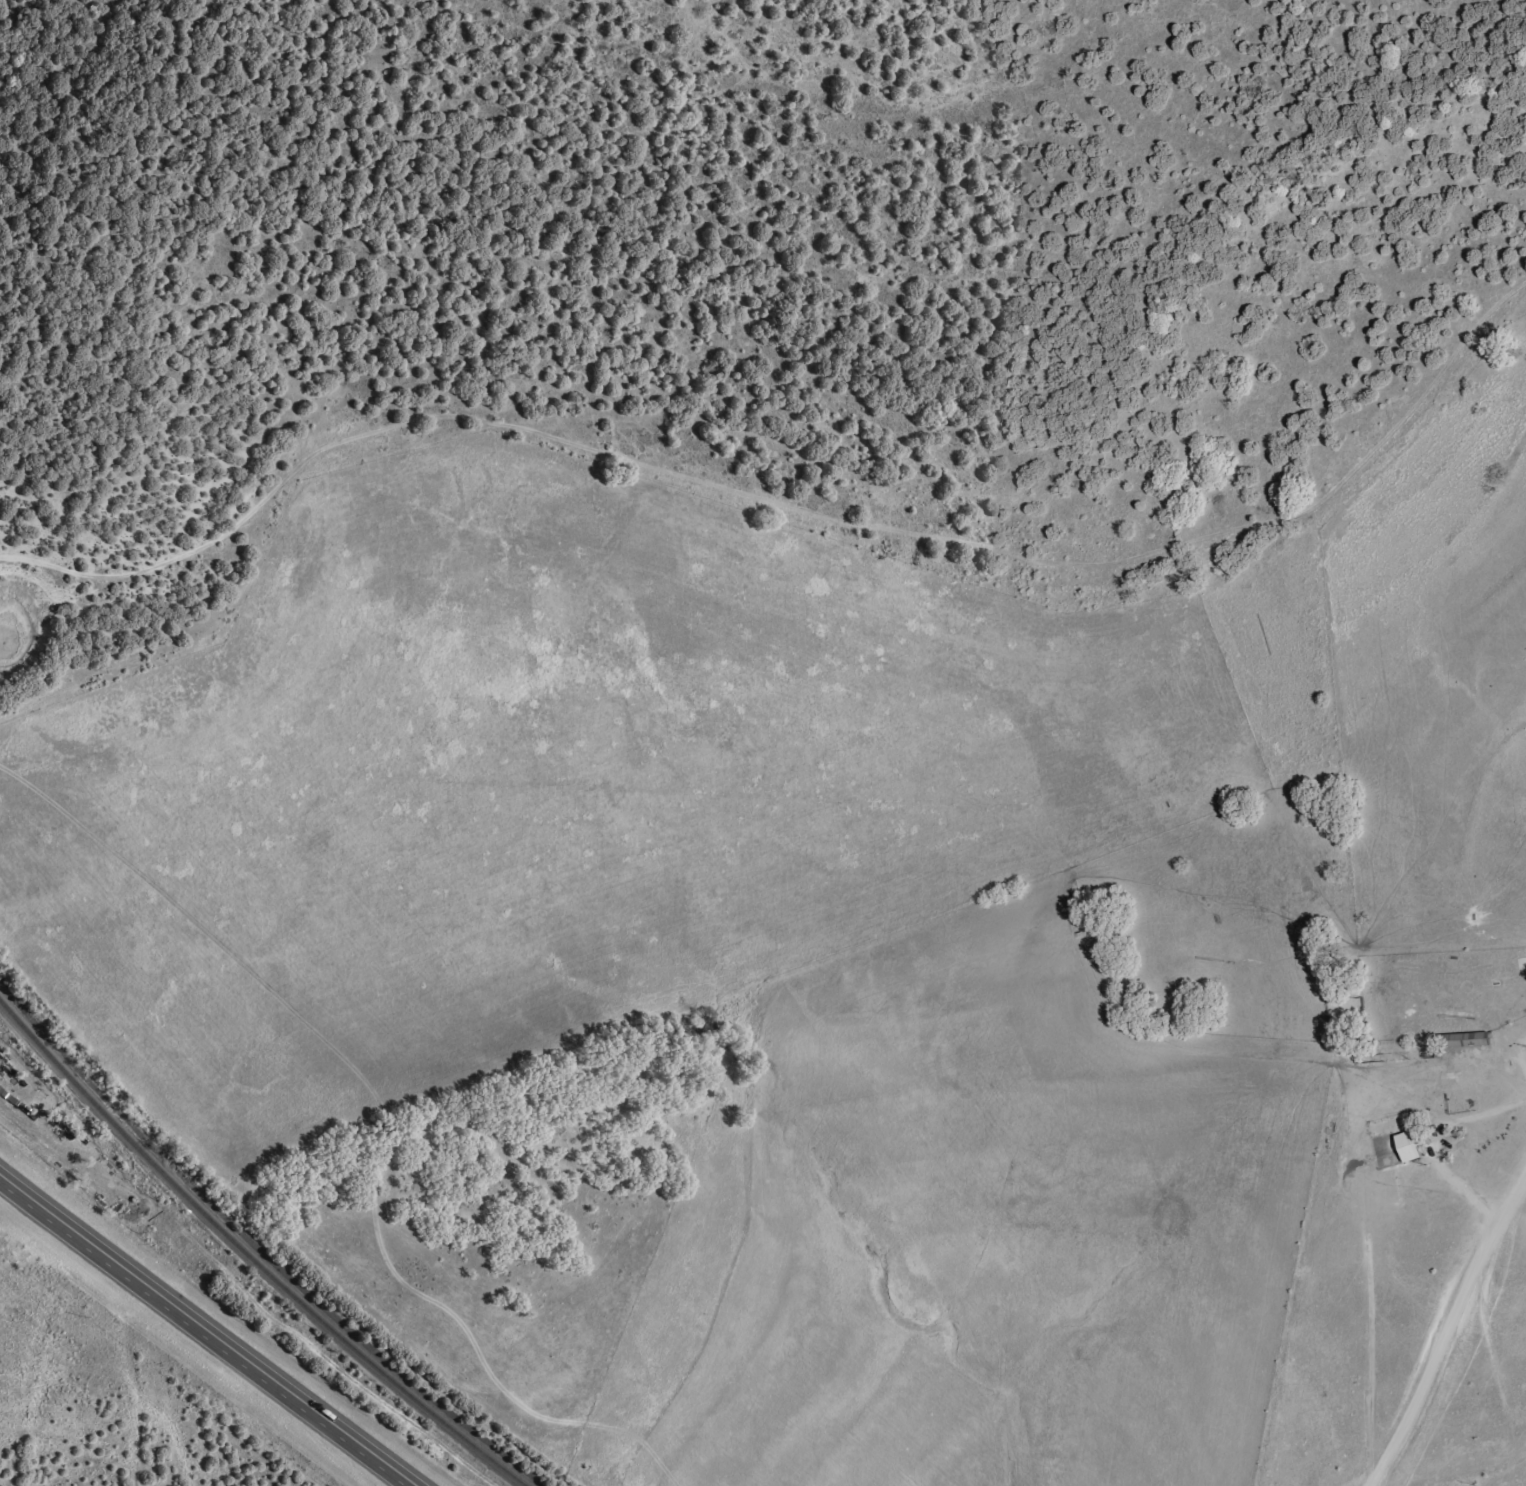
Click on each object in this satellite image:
building: (1462, 1040)
building: (1406, 1147)
railway: (251, 1257)
road: (203, 1327)
road: (1446, 1329)
road: (1450, 1474)

